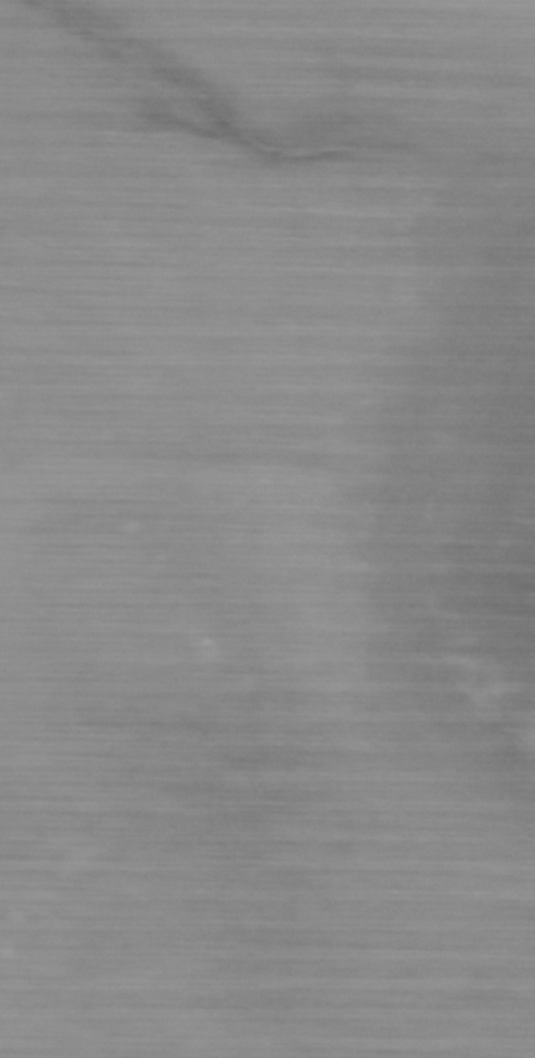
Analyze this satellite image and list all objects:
crop: (267, 528)

